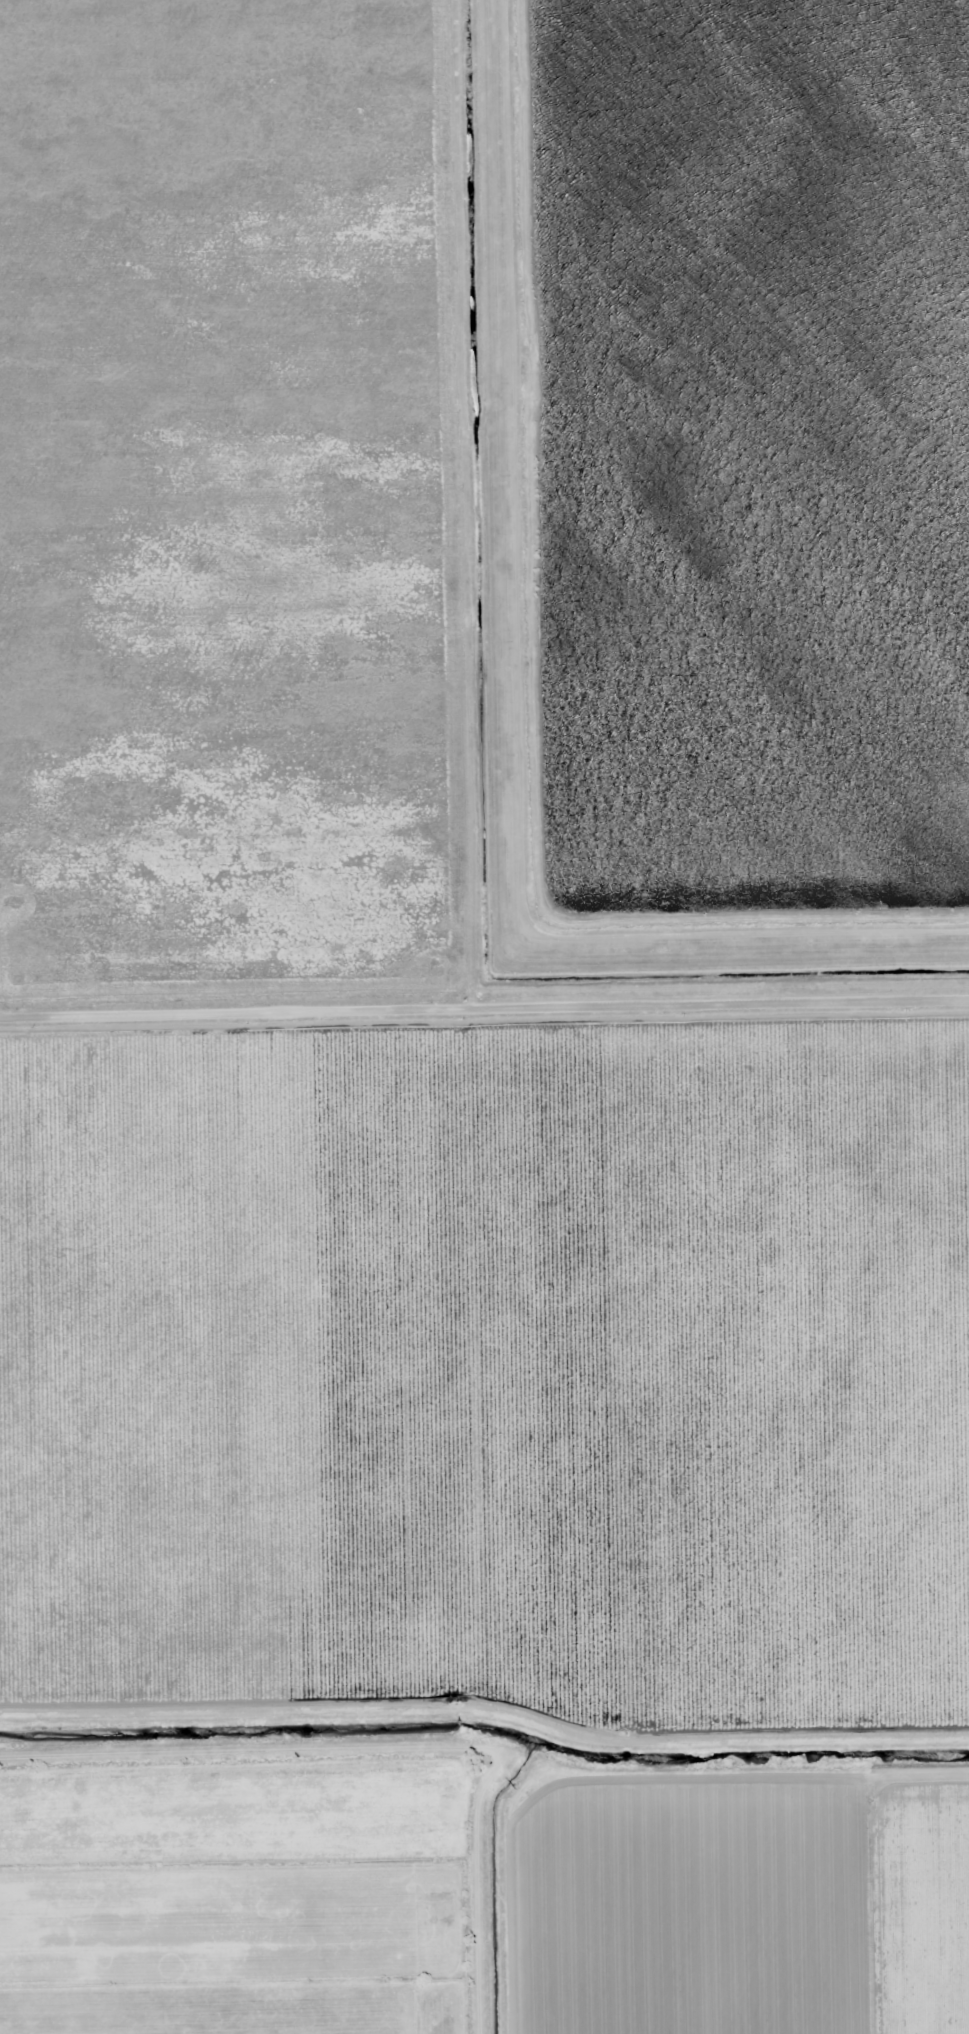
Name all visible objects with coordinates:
road: (484, 1010)

